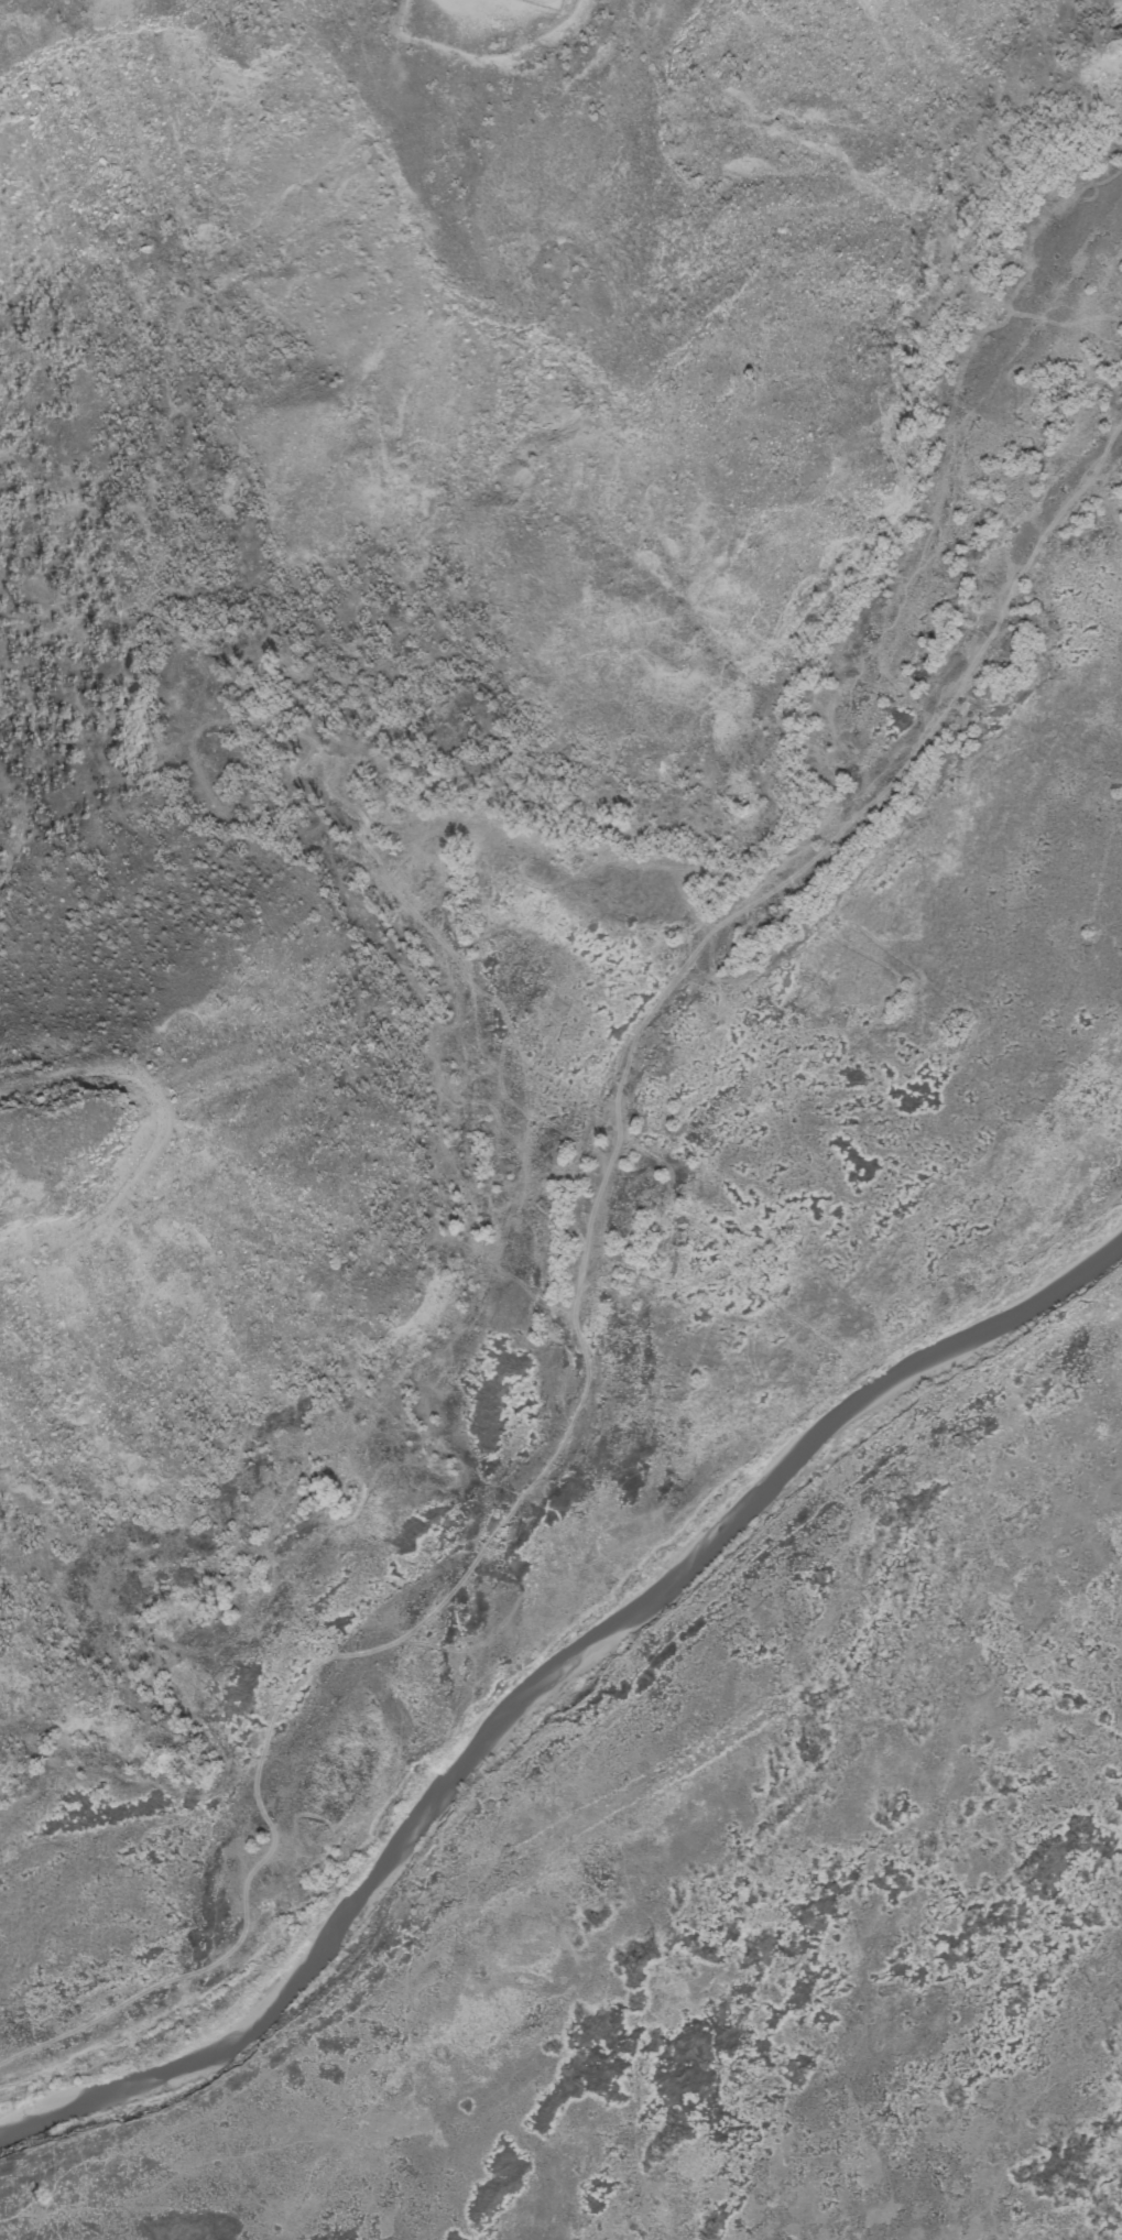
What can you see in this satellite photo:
river: (552, 1688)

